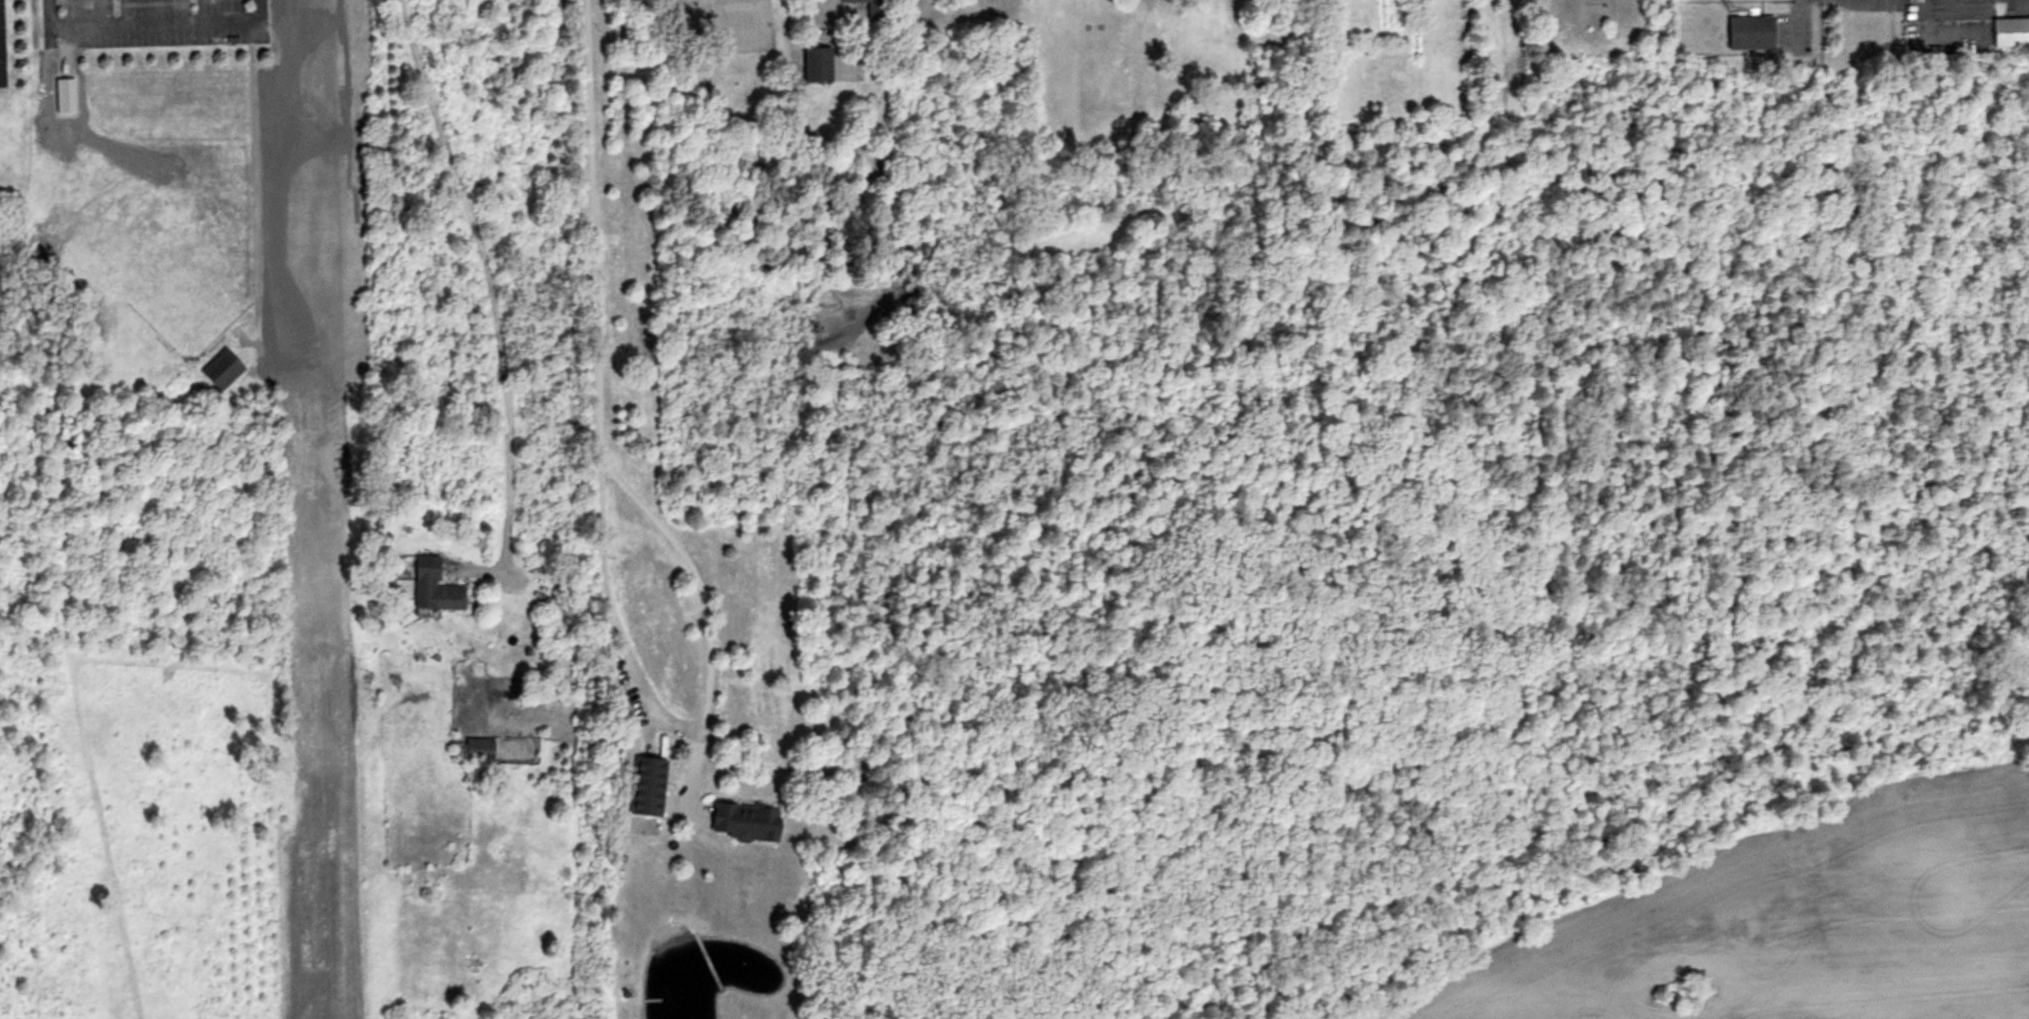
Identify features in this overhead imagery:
road: (1965, 7)
building: (871, 9)
road: (1795, 16)
road: (149, 24)
building: (1750, 32)
building: (2010, 32)
building: (816, 64)
park: (184, 245)
road: (492, 310)
building: (221, 369)
road: (594, 388)
building: (433, 587)
road: (709, 617)
building: (480, 749)
building: (646, 787)
building: (743, 822)

